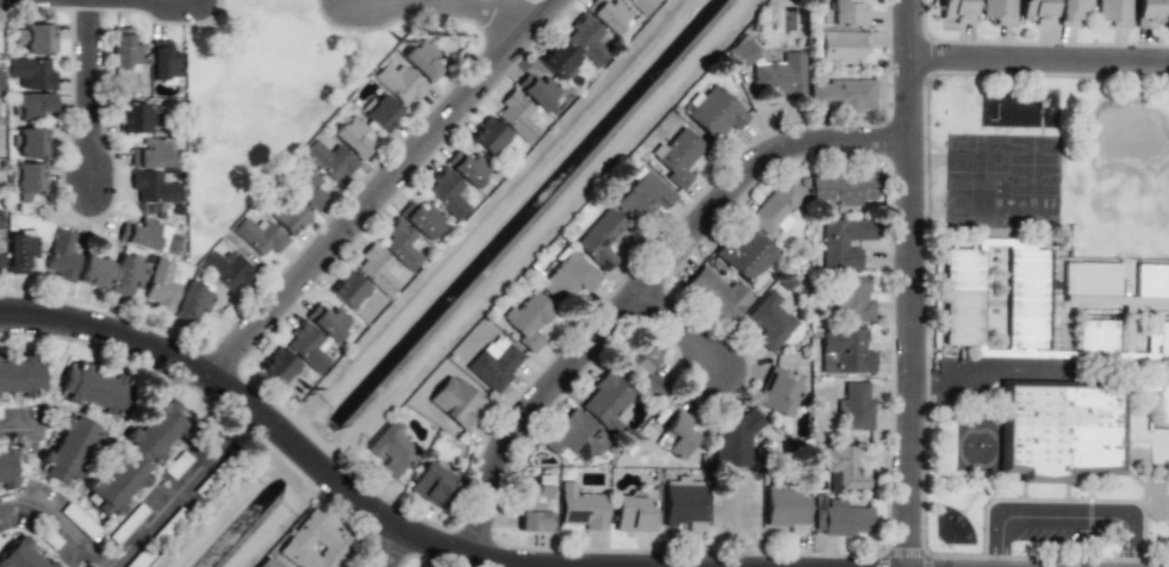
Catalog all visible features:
road: (138, 1)
building: (641, 5)
road: (442, 11)
building: (957, 11)
building: (999, 11)
building: (1070, 11)
building: (1037, 12)
building: (1113, 12)
building: (1149, 12)
building: (847, 13)
building: (610, 17)
building: (36, 38)
building: (586, 39)
building: (841, 46)
building: (124, 49)
building: (741, 55)
building: (421, 60)
building: (559, 61)
building: (164, 63)
road: (1038, 63)
building: (31, 74)
building: (779, 76)
building: (0, 81)
building: (398, 82)
building: (537, 92)
building: (840, 94)
road: (86, 96)
building: (33, 105)
building: (380, 113)
building: (517, 116)
building: (136, 118)
building: (487, 136)
building: (352, 137)
building: (29, 143)
building: (149, 154)
building: (677, 156)
building: (329, 161)
building: (467, 168)
building: (30, 177)
building: (153, 187)
building: (305, 188)
road: (379, 188)
building: (844, 191)
building: (447, 193)
building: (643, 195)
building: (776, 207)
building: (288, 216)
building: (422, 220)
building: (0, 228)
building: (259, 236)
building: (149, 237)
building: (599, 239)
building: (842, 242)
building: (402, 244)
building: (20, 253)
building: (61, 256)
building: (746, 256)
building: (0, 264)
building: (226, 269)
building: (94, 272)
building: (126, 278)
building: (566, 278)
building: (1089, 278)
road: (909, 283)
building: (1152, 283)
building: (161, 286)
road: (641, 287)
building: (348, 289)
building: (717, 294)
building: (963, 297)
building: (193, 301)
building: (1022, 306)
building: (528, 320)
building: (769, 320)
building: (328, 323)
road: (674, 334)
building: (1095, 339)
building: (1162, 341)
building: (307, 347)
building: (844, 351)
building: (495, 363)
building: (278, 366)
building: (642, 368)
building: (20, 378)
building: (94, 390)
building: (777, 391)
building: (455, 401)
building: (605, 401)
building: (1162, 404)
building: (854, 406)
road: (17, 425)
road: (274, 428)
building: (1061, 431)
building: (677, 435)
building: (574, 438)
building: (732, 441)
building: (69, 448)
building: (391, 449)
building: (136, 457)
building: (5, 466)
building: (844, 471)
building: (430, 484)
road: (170, 503)
building: (683, 503)
building: (785, 505)
building: (582, 507)
road: (1062, 511)
building: (633, 515)
building: (840, 517)
road: (55, 522)
building: (316, 543)
road: (393, 547)
building: (21, 556)
building: (266, 563)

